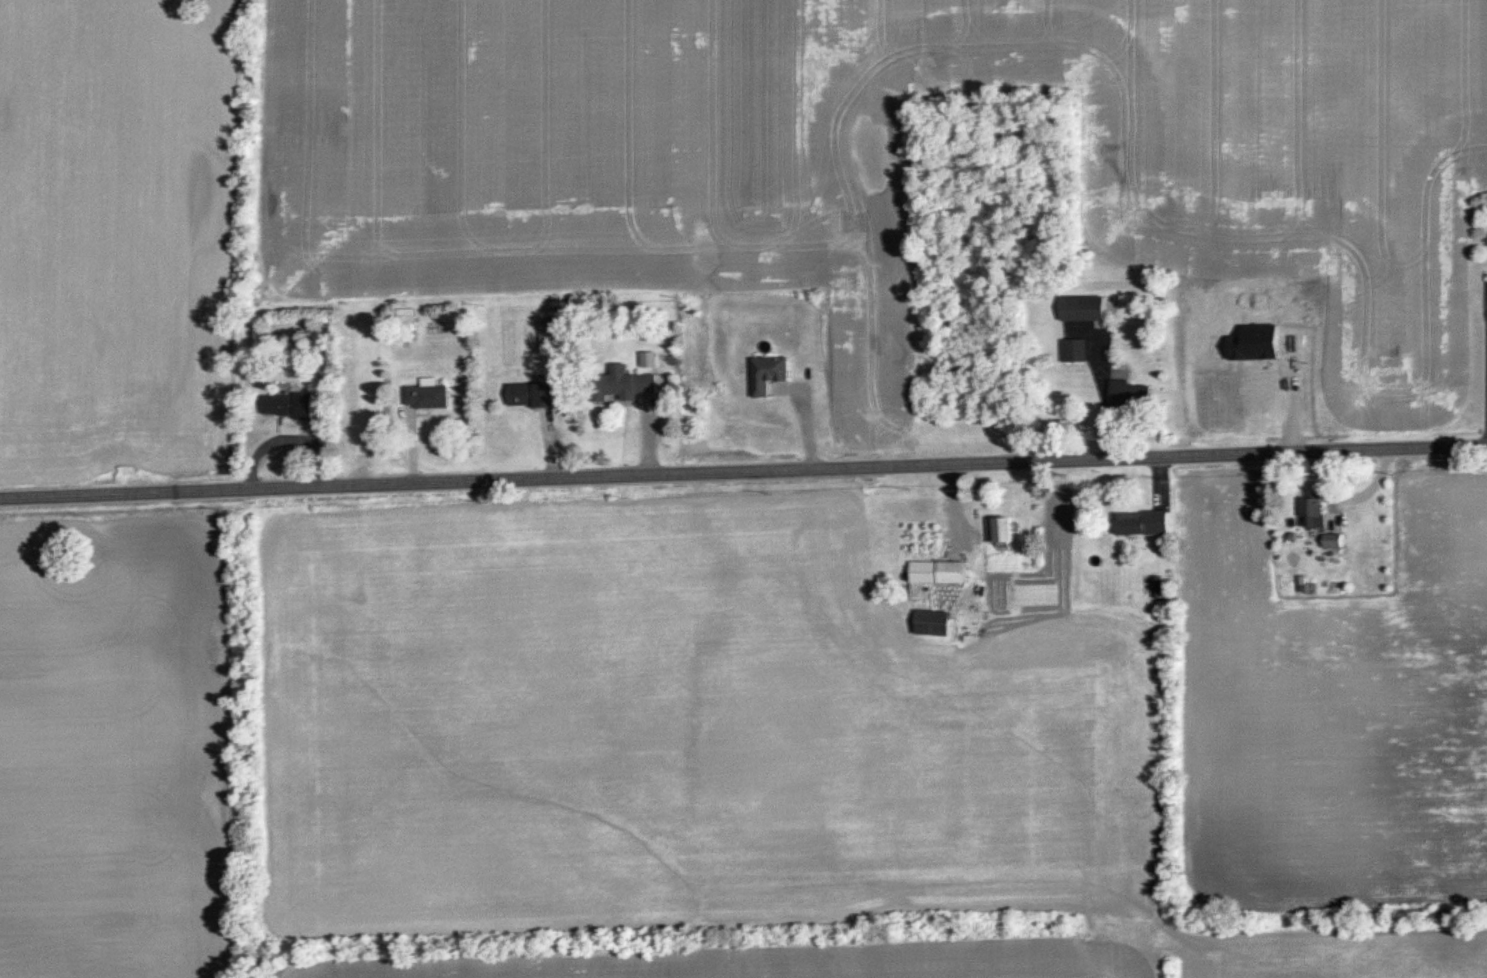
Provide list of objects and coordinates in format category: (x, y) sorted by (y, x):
building: (1087, 307)
building: (410, 324)
building: (553, 336)
building: (1076, 350)
building: (775, 374)
building: (630, 382)
building: (1132, 391)
road: (1097, 393)
building: (432, 395)
building: (538, 395)
building: (296, 406)
road: (743, 471)
building: (1319, 512)
building: (1146, 522)
building: (1007, 531)
building: (1335, 540)
building: (944, 572)
building: (1152, 585)
building: (937, 623)

